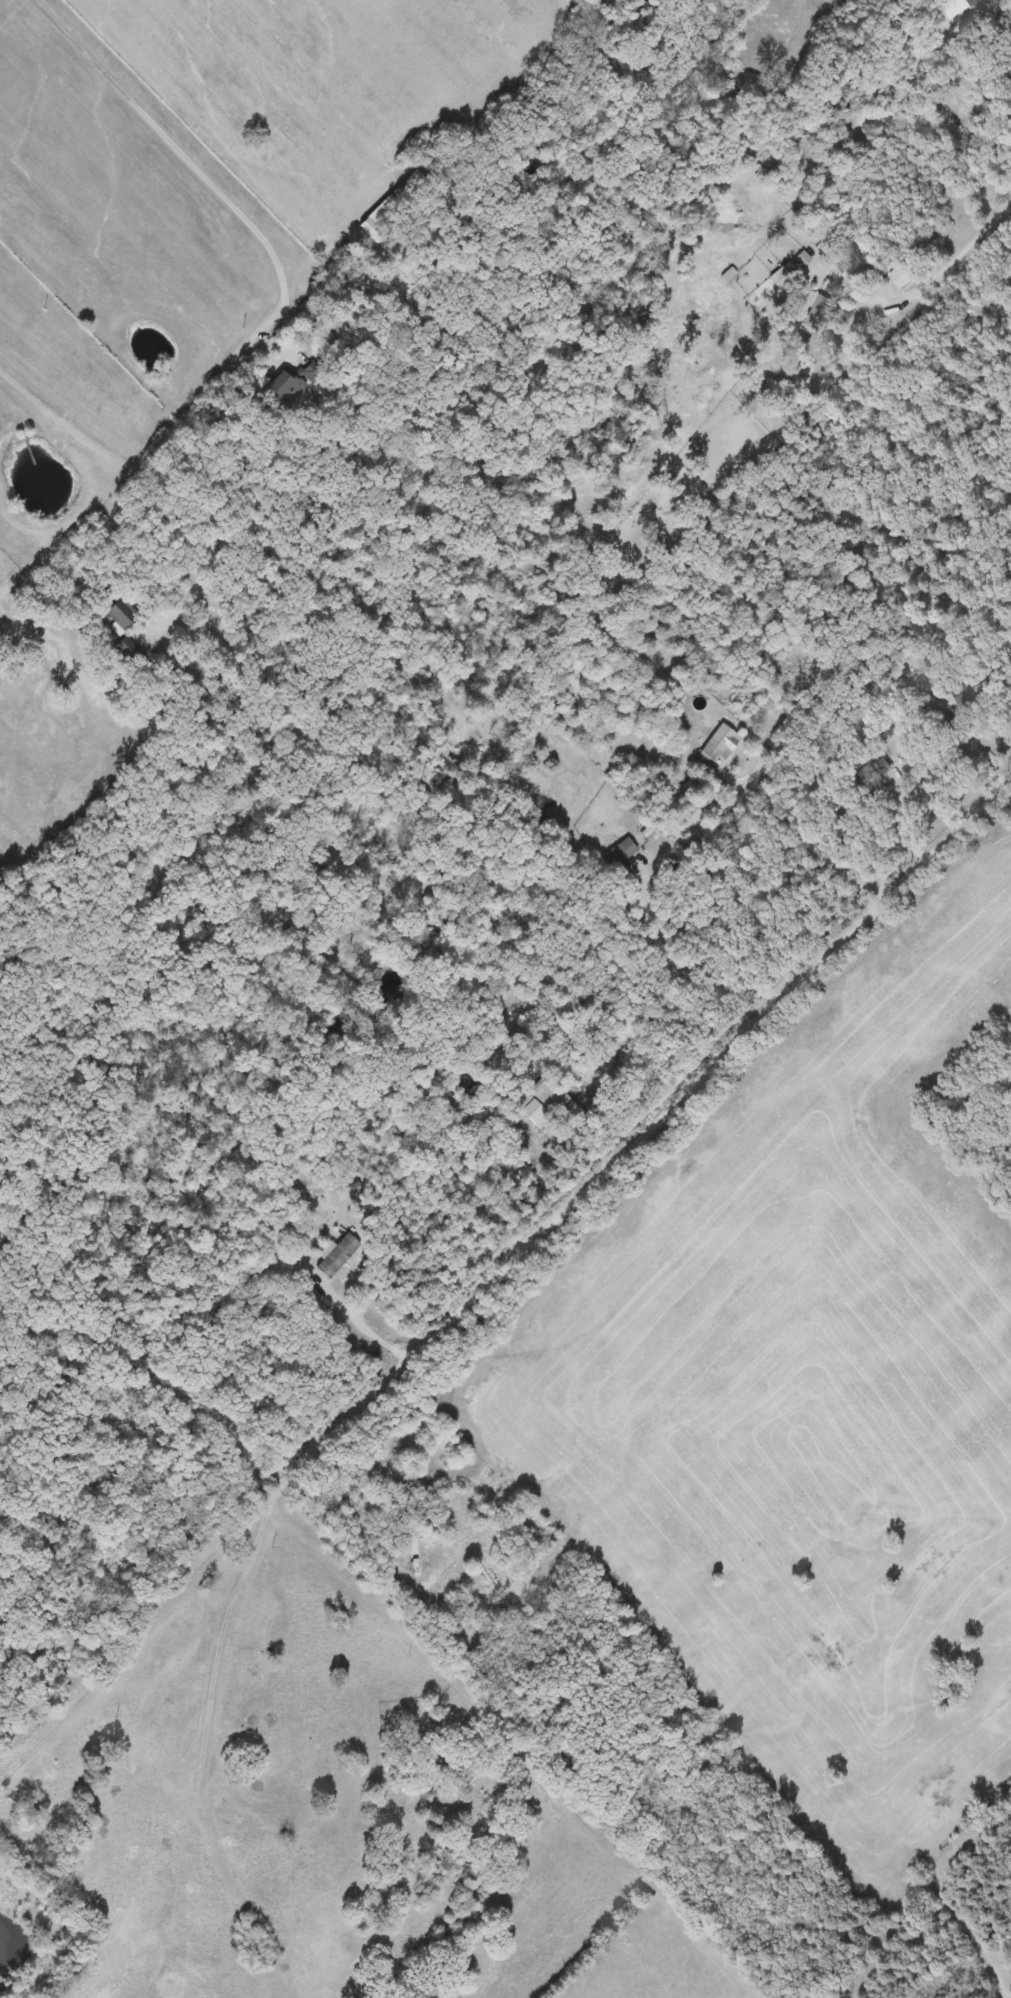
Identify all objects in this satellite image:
road: (990, 4)
road: (771, 39)
building: (1009, 74)
road: (189, 159)
building: (406, 192)
building: (901, 275)
building: (781, 276)
road: (935, 276)
building: (815, 315)
building: (321, 345)
building: (310, 371)
building: (282, 389)
building: (231, 416)
road: (159, 480)
building: (971, 689)
building: (719, 745)
road: (973, 748)
road: (804, 834)
building: (618, 854)
road: (684, 974)
building: (551, 1100)
building: (555, 1144)
road: (476, 1198)
building: (337, 1257)
road: (449, 1319)
road: (366, 1325)
road: (107, 1543)
building: (415, 1552)
road: (141, 1638)
road: (5, 1765)

